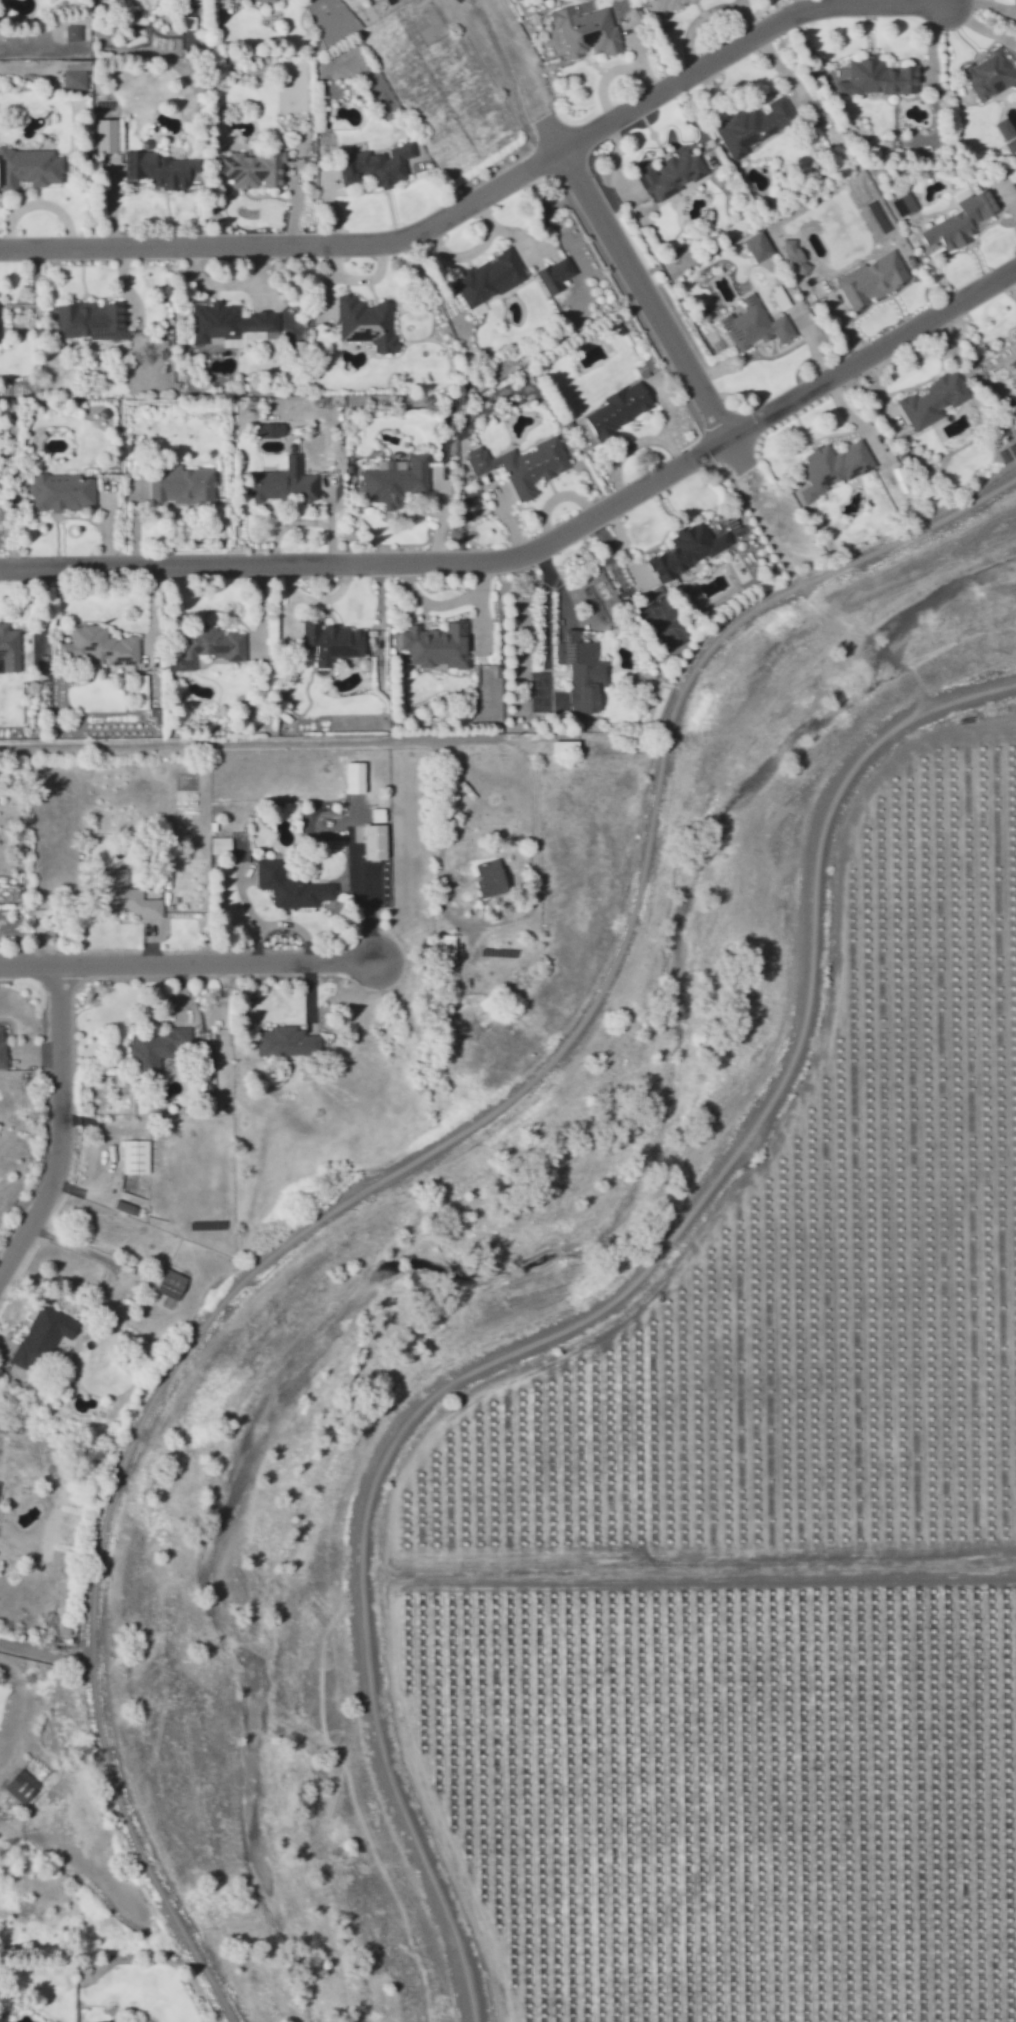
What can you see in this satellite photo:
building: (268, 1)
building: (1012, 2)
building: (666, 4)
building: (583, 28)
building: (74, 33)
building: (76, 74)
building: (987, 77)
building: (873, 78)
building: (381, 94)
building: (750, 126)
building: (1005, 136)
building: (378, 165)
building: (28, 168)
building: (160, 170)
building: (253, 170)
building: (667, 171)
road: (491, 191)
building: (900, 204)
building: (956, 221)
road: (606, 227)
building: (753, 246)
building: (794, 255)
building: (552, 275)
building: (486, 278)
building: (869, 278)
building: (90, 320)
building: (0, 321)
building: (368, 323)
building: (235, 325)
building: (751, 325)
road: (875, 352)
building: (930, 400)
building: (616, 408)
building: (270, 430)
building: (520, 465)
building: (829, 467)
building: (396, 481)
building: (284, 483)
building: (182, 486)
building: (62, 492)
building: (689, 550)
road: (382, 567)
building: (585, 637)
building: (334, 642)
building: (216, 643)
building: (101, 646)
building: (438, 648)
building: (10, 649)
building: (578, 675)
road: (255, 742)
building: (559, 748)
building: (356, 778)
building: (376, 842)
building: (221, 846)
building: (487, 878)
building: (292, 888)
building: (126, 896)
building: (372, 918)
building: (443, 949)
road: (188, 965)
building: (288, 1042)
building: (3, 1047)
road: (58, 1137)
building: (136, 1157)
road: (386, 1173)
building: (126, 1208)
road: (579, 1318)
building: (43, 1337)
road: (44, 1649)
building: (22, 1786)
building: (117, 2021)

